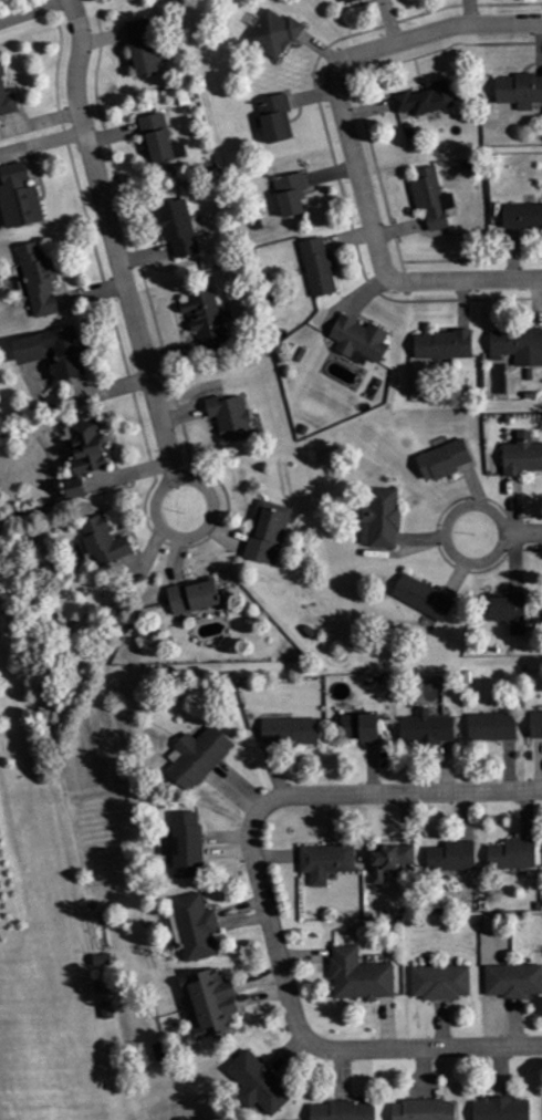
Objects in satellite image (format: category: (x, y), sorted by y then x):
building: (348, 0)
building: (275, 33)
building: (148, 48)
building: (520, 91)
building: (7, 97)
building: (426, 100)
building: (277, 117)
building: (160, 139)
road: (351, 143)
building: (292, 194)
building: (19, 196)
building: (432, 198)
building: (523, 216)
building: (178, 227)
road: (113, 234)
building: (319, 267)
building: (39, 279)
building: (207, 319)
building: (361, 340)
building: (445, 344)
building: (518, 345)
building: (54, 352)
building: (231, 416)
building: (90, 446)
building: (523, 454)
building: (446, 459)
building: (76, 489)
road: (457, 508)
building: (382, 519)
road: (206, 526)
road: (533, 530)
building: (269, 532)
building: (105, 541)
building: (195, 597)
building: (425, 598)
building: (509, 612)
building: (536, 725)
building: (362, 727)
building: (493, 727)
building: (428, 728)
building: (291, 732)
building: (199, 757)
road: (371, 791)
building: (186, 846)
building: (513, 854)
building: (452, 857)
building: (392, 860)
building: (326, 862)
building: (197, 926)
building: (361, 976)
building: (513, 981)
building: (440, 983)
building: (212, 1004)
road: (327, 1049)
building: (260, 1085)
building: (502, 1109)
building: (424, 1110)
building: (344, 1111)

